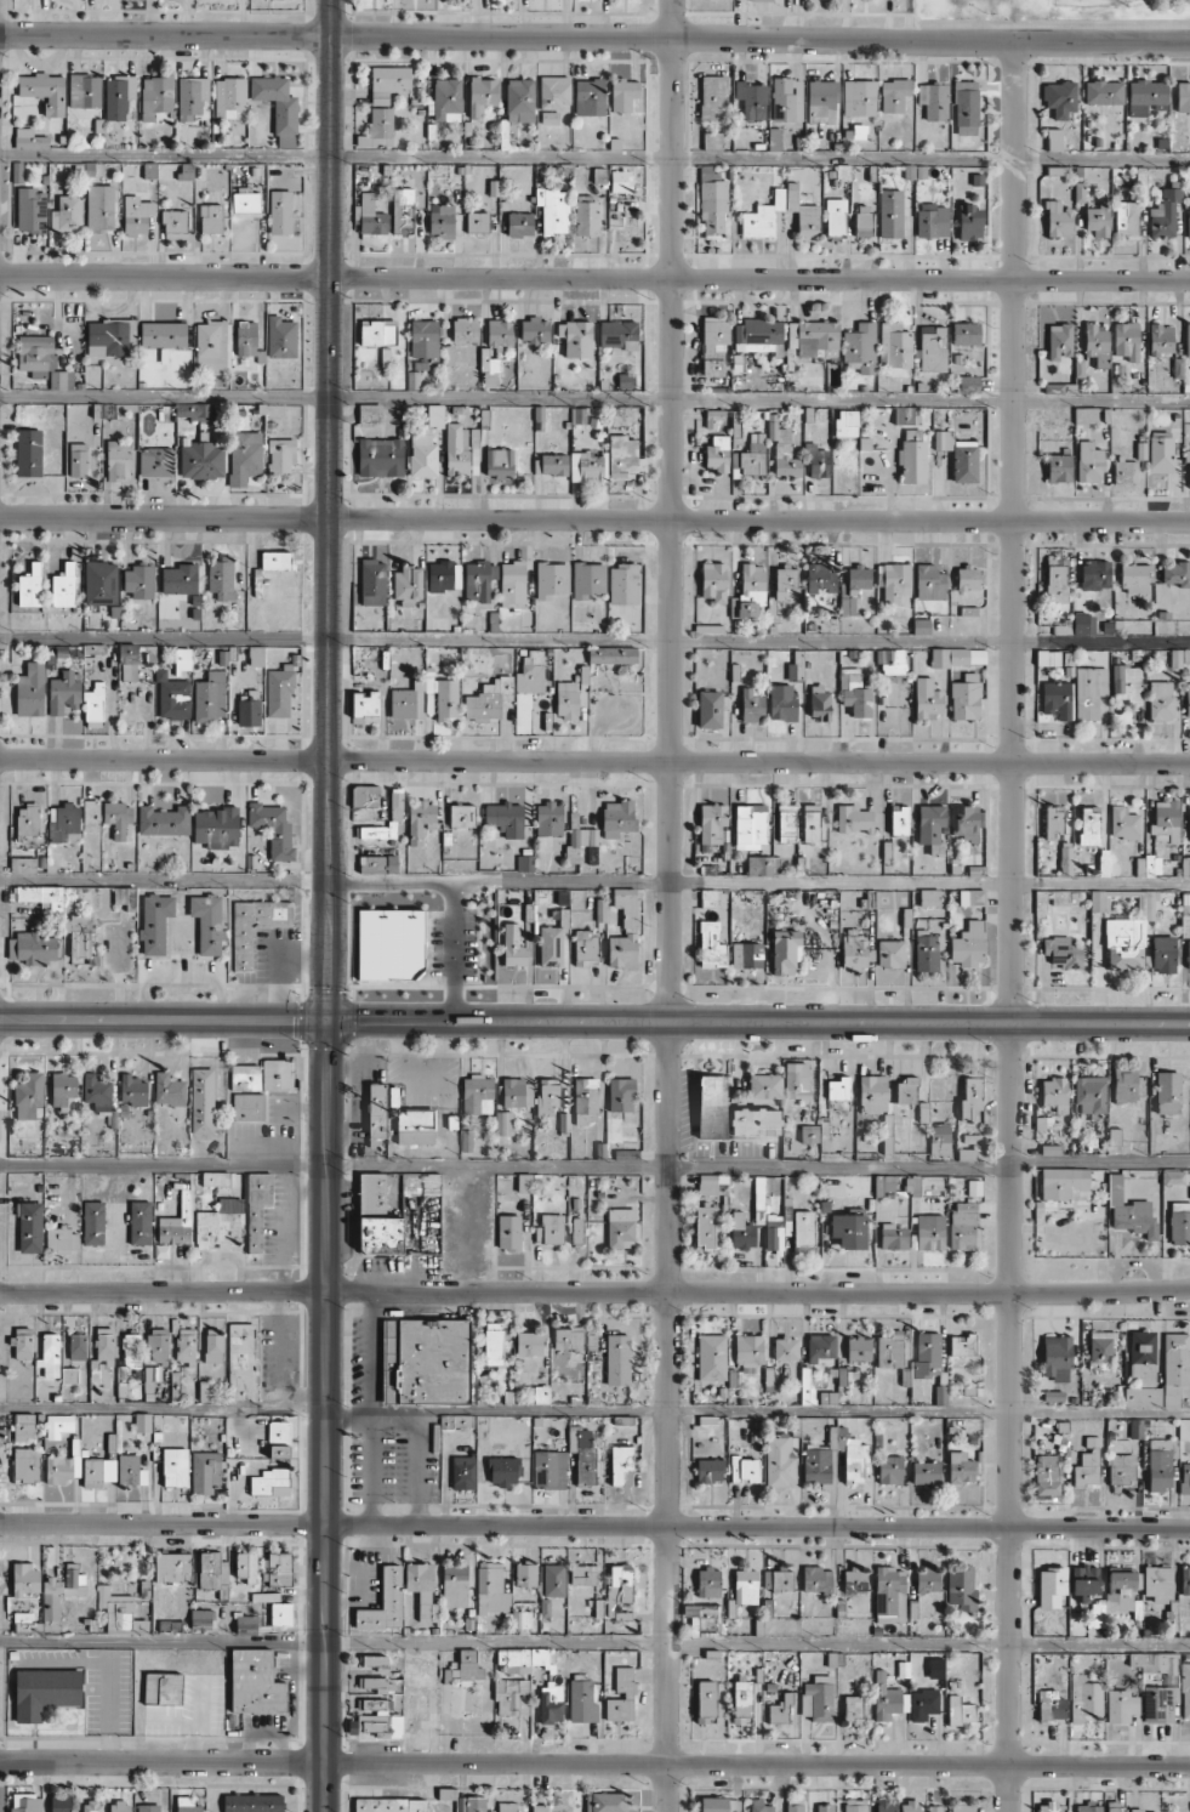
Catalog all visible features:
building: (761, 0)
park: (1091, 4)
park: (1050, 13)
road: (332, 18)
road: (166, 36)
road: (761, 39)
building: (388, 81)
building: (45, 91)
building: (84, 91)
building: (554, 91)
building: (1103, 92)
building: (156, 93)
building: (482, 95)
building: (624, 95)
building: (894, 95)
building: (118, 96)
building: (192, 96)
building: (712, 96)
building: (228, 97)
building: (590, 97)
building: (859, 97)
building: (1146, 97)
building: (1183, 97)
building: (1059, 98)
building: (446, 100)
building: (519, 100)
building: (752, 100)
building: (786, 100)
building: (821, 101)
building: (933, 101)
building: (277, 106)
building: (966, 107)
building: (548, 117)
building: (377, 127)
building: (28, 138)
building: (774, 138)
building: (1053, 140)
building: (712, 141)
road: (594, 159)
building: (149, 170)
building: (186, 171)
building: (621, 181)
building: (1141, 184)
building: (245, 201)
building: (712, 203)
building: (99, 208)
building: (30, 210)
building: (403, 210)
building: (553, 210)
building: (67, 211)
building: (280, 211)
building: (1165, 211)
building: (803, 212)
building: (890, 214)
building: (136, 215)
building: (369, 216)
building: (587, 216)
building: (762, 216)
building: (835, 217)
building: (1126, 217)
building: (1189, 217)
building: (211, 218)
building: (440, 220)
building: (862, 220)
building: (932, 220)
building: (1058, 220)
building: (1097, 220)
building: (477, 222)
building: (969, 222)
building: (519, 223)
building: (175, 225)
road: (594, 279)
building: (465, 330)
building: (534, 330)
building: (499, 333)
building: (966, 333)
building: (163, 334)
building: (374, 334)
building: (617, 334)
building: (763, 334)
building: (109, 336)
building: (246, 337)
building: (281, 337)
building: (576, 337)
building: (813, 339)
building: (1161, 339)
building: (1127, 340)
building: (1059, 341)
building: (423, 343)
building: (1097, 343)
building: (894, 345)
building: (713, 346)
building: (211, 347)
building: (860, 347)
building: (933, 348)
building: (36, 352)
building: (489, 364)
building: (1178, 368)
building: (61, 380)
building: (625, 380)
building: (969, 384)
road: (594, 398)
building: (193, 410)
building: (369, 413)
building: (435, 415)
building: (1084, 415)
building: (713, 419)
building: (847, 422)
building: (944, 439)
building: (462, 449)
building: (1160, 451)
building: (28, 453)
building: (422, 453)
building: (784, 453)
building: (717, 454)
building: (280, 455)
building: (625, 455)
building: (244, 456)
building: (380, 456)
building: (1188, 458)
building: (78, 460)
building: (118, 460)
building: (201, 460)
building: (155, 461)
building: (818, 461)
building: (912, 461)
building: (964, 461)
building: (499, 462)
building: (751, 462)
building: (1089, 462)
building: (550, 464)
building: (587, 466)
building: (1059, 467)
building: (1124, 472)
road: (594, 518)
road: (329, 528)
building: (275, 559)
building: (1175, 573)
building: (1095, 574)
building: (444, 576)
building: (222, 578)
building: (819, 578)
building: (967, 578)
building: (1134, 578)
building: (180, 579)
building: (551, 579)
building: (588, 579)
building: (140, 580)
building: (478, 580)
building: (785, 580)
building: (1055, 580)
building: (713, 581)
building: (101, 583)
building: (372, 583)
building: (894, 583)
building: (929, 583)
building: (512, 584)
building: (622, 584)
building: (408, 585)
building: (30, 586)
building: (64, 586)
building: (853, 587)
building: (748, 591)
building: (1083, 624)
building: (921, 626)
road: (594, 644)
building: (611, 654)
building: (256, 655)
building: (958, 657)
building: (182, 659)
building: (127, 661)
building: (892, 661)
building: (796, 666)
building: (531, 672)
building: (1127, 683)
building: (30, 689)
building: (1089, 691)
building: (63, 693)
building: (279, 693)
building: (854, 694)
building: (172, 697)
building: (210, 697)
building: (966, 697)
building: (928, 698)
building: (1057, 698)
building: (410, 699)
building: (446, 699)
building: (489, 699)
building: (566, 700)
building: (1161, 700)
building: (1188, 700)
building: (782, 701)
building: (364, 703)
building: (819, 703)
building: (751, 704)
building: (93, 705)
building: (247, 709)
building: (710, 709)
road: (594, 762)
road: (1013, 784)
building: (364, 796)
building: (395, 805)
building: (91, 814)
building: (461, 816)
building: (617, 817)
building: (505, 818)
building: (548, 818)
building: (854, 818)
building: (27, 819)
building: (118, 819)
building: (420, 819)
building: (899, 819)
building: (1166, 819)
building: (163, 820)
building: (1189, 820)
building: (964, 822)
building: (1053, 822)
building: (63, 823)
building: (712, 823)
building: (786, 823)
building: (810, 823)
building: (930, 823)
building: (1123, 823)
building: (750, 825)
building: (1089, 825)
building: (216, 827)
building: (272, 829)
building: (580, 841)
building: (1065, 860)
building: (524, 862)
building: (1104, 862)
building: (377, 863)
building: (23, 864)
building: (762, 864)
building: (1148, 865)
building: (1185, 865)
road: (594, 882)
building: (126, 897)
building: (708, 897)
building: (929, 897)
building: (972, 897)
building: (44, 898)
building: (1049, 899)
building: (1099, 901)
road: (665, 905)
building: (1185, 916)
building: (155, 922)
building: (207, 922)
building: (624, 931)
building: (1129, 935)
building: (79, 937)
building: (389, 943)
building: (968, 944)
building: (551, 945)
building: (711, 945)
building: (33, 947)
building: (513, 947)
building: (586, 947)
building: (244, 949)
building: (785, 950)
building: (927, 950)
building: (854, 952)
building: (1063, 952)
building: (748, 954)
building: (890, 954)
building: (1162, 954)
building: (1189, 954)
road: (164, 1018)
road: (759, 1021)
building: (275, 1074)
building: (245, 1077)
building: (796, 1080)
building: (764, 1085)
building: (1124, 1085)
building: (63, 1087)
building: (838, 1089)
building: (133, 1090)
building: (169, 1090)
building: (97, 1091)
building: (906, 1091)
building: (1167, 1092)
building: (28, 1094)
building: (1054, 1094)
building: (477, 1095)
building: (620, 1095)
building: (1091, 1095)
building: (547, 1096)
building: (970, 1098)
building: (203, 1101)
building: (586, 1101)
building: (876, 1102)
building: (247, 1107)
building: (380, 1107)
building: (711, 1107)
building: (755, 1121)
building: (503, 1123)
building: (415, 1126)
building: (809, 1134)
building: (939, 1140)
road: (1100, 1163)
road: (506, 1168)
building: (215, 1178)
building: (524, 1182)
building: (710, 1183)
building: (884, 1183)
building: (1065, 1183)
building: (421, 1185)
building: (758, 1188)
building: (371, 1194)
building: (257, 1208)
building: (1129, 1212)
building: (93, 1222)
building: (140, 1222)
building: (220, 1223)
building: (1179, 1223)
building: (963, 1225)
building: (705, 1226)
building: (30, 1227)
building: (176, 1227)
building: (620, 1227)
building: (550, 1228)
building: (803, 1228)
building: (576, 1229)
building: (848, 1229)
building: (741, 1231)
building: (508, 1232)
building: (773, 1232)
building: (930, 1232)
building: (380, 1234)
building: (893, 1237)
building: (61, 1239)
road: (594, 1291)
building: (568, 1337)
building: (529, 1342)
building: (22, 1344)
building: (492, 1344)
building: (158, 1345)
building: (213, 1345)
building: (962, 1345)
building: (76, 1346)
building: (184, 1346)
building: (821, 1346)
building: (785, 1348)
building: (859, 1348)
building: (131, 1350)
building: (890, 1350)
building: (1100, 1350)
building: (748, 1351)
building: (50, 1354)
building: (927, 1354)
building: (711, 1357)
building: (1057, 1357)
building: (1141, 1357)
building: (102, 1358)
building: (617, 1359)
building: (241, 1361)
building: (425, 1361)
building: (1175, 1370)
building: (69, 1375)
building: (150, 1378)
building: (541, 1394)
building: (827, 1397)
building: (1143, 1397)
road: (594, 1410)
road: (326, 1415)
building: (143, 1422)
building: (58, 1425)
building: (23, 1428)
building: (278, 1433)
building: (849, 1453)
building: (582, 1454)
building: (779, 1460)
building: (1160, 1462)
building: (621, 1465)
building: (1088, 1465)
building: (175, 1466)
building: (816, 1467)
building: (961, 1467)
building: (62, 1469)
building: (99, 1469)
building: (548, 1469)
building: (1122, 1469)
building: (710, 1470)
building: (745, 1470)
building: (889, 1470)
building: (205, 1471)
building: (503, 1471)
building: (463, 1472)
building: (926, 1472)
building: (1048, 1473)
building: (1185, 1478)
building: (269, 1482)
road: (594, 1526)
building: (172, 1567)
building: (245, 1568)
building: (277, 1568)
building: (211, 1570)
building: (525, 1574)
building: (583, 1574)
building: (24, 1578)
building: (816, 1579)
building: (553, 1580)
building: (781, 1580)
building: (854, 1580)
building: (928, 1580)
building: (1185, 1580)
building: (708, 1581)
building: (1084, 1581)
building: (1158, 1584)
building: (455, 1585)
building: (1050, 1586)
building: (491, 1587)
building: (961, 1587)
building: (619, 1589)
building: (422, 1590)
building: (1122, 1590)
building: (61, 1595)
building: (889, 1595)
building: (385, 1602)
building: (119, 1612)
building: (280, 1614)
building: (201, 1619)
building: (522, 1619)
building: (705, 1620)
building: (246, 1624)
road: (594, 1646)
building: (520, 1659)
building: (376, 1662)
building: (1154, 1662)
building: (467, 1668)
building: (935, 1668)
road: (1009, 1669)
building: (255, 1682)
building: (378, 1685)
building: (163, 1688)
building: (1185, 1689)
building: (45, 1692)
building: (621, 1695)
building: (512, 1697)
building: (887, 1698)
building: (818, 1699)
building: (1084, 1699)
building: (581, 1702)
building: (706, 1702)
building: (741, 1702)
building: (551, 1703)
building: (923, 1704)
building: (1050, 1704)
building: (1158, 1704)
building: (1122, 1706)
building: (853, 1708)
building: (781, 1710)
building: (960, 1710)
building: (377, 1721)
road: (594, 1763)
building: (445, 1793)
building: (27, 1802)
building: (252, 1802)
building: (605, 1802)
building: (61, 1804)
building: (469, 1804)
building: (187, 1805)
building: (389, 1805)
building: (719, 1805)
building: (795, 1805)
building: (855, 1805)
building: (886, 1805)
building: (92, 1806)
building: (119, 1806)
building: (507, 1806)
building: (761, 1806)
building: (910, 1806)
building: (1114, 1806)
building: (148, 1807)
building: (539, 1807)
building: (825, 1807)
building: (962, 1807)
building: (1052, 1807)
building: (934, 1808)
building: (1089, 1808)
building: (1143, 1811)

